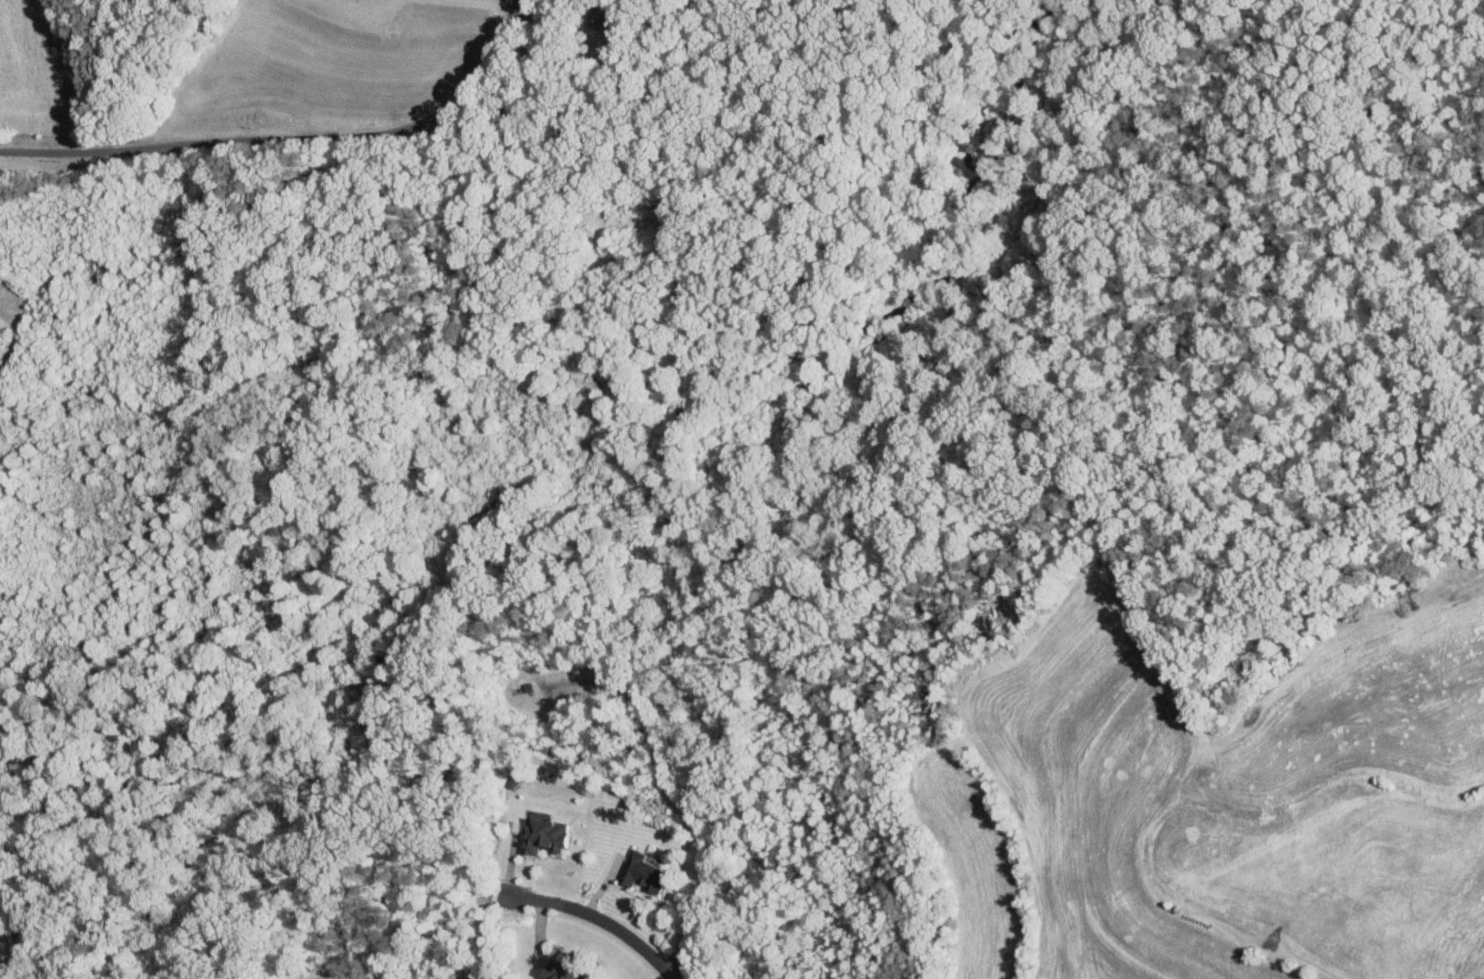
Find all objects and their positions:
road: (292, 136)
road: (677, 789)
building: (542, 836)
building: (641, 874)
road: (601, 922)
building: (559, 975)

